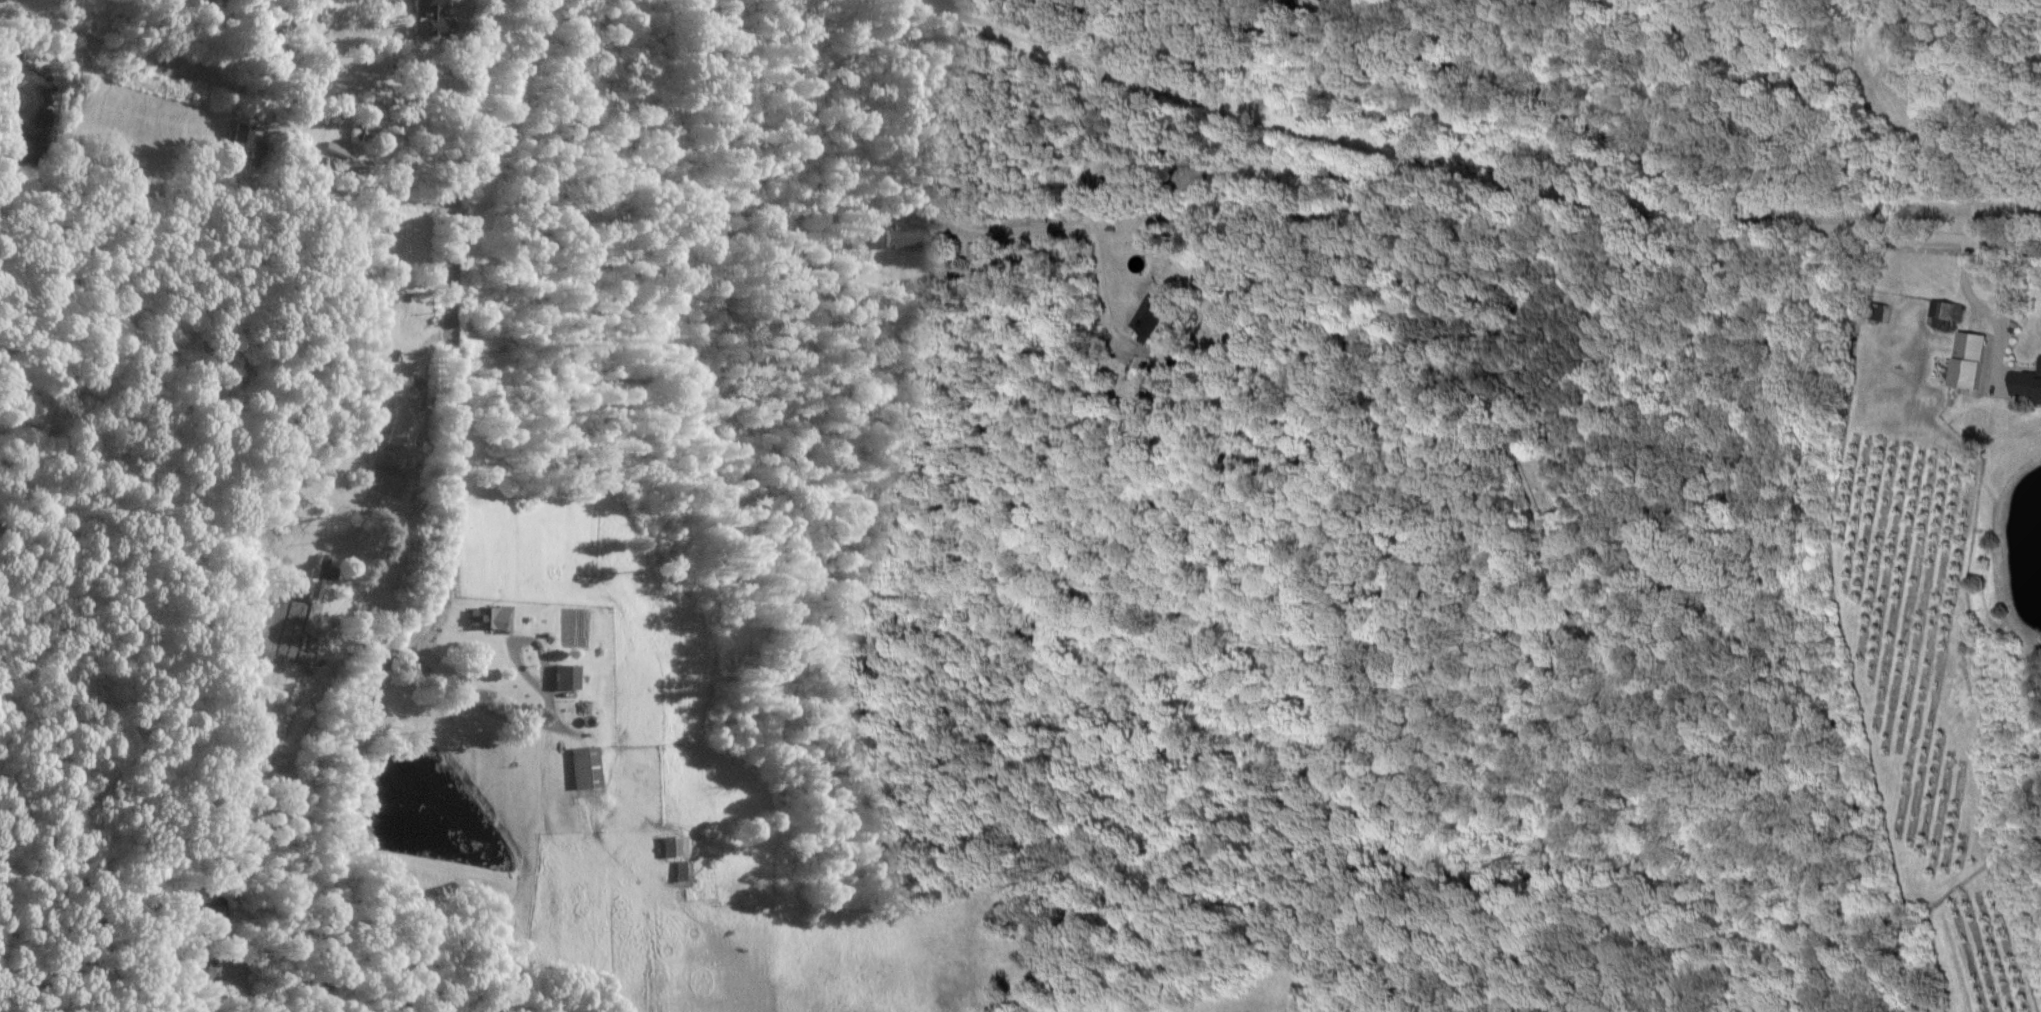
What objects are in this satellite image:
road: (1089, 3)
building: (429, 20)
road: (1559, 107)
building: (241, 141)
road: (1088, 188)
road: (361, 198)
road: (1017, 231)
building: (903, 237)
road: (1985, 312)
building: (1943, 314)
building: (1149, 317)
building: (1966, 361)
building: (2026, 384)
building: (399, 429)
road: (451, 517)
building: (317, 574)
building: (486, 616)
road: (344, 635)
building: (562, 675)
road: (545, 723)
building: (583, 766)
building: (668, 845)
building: (209, 916)
building: (203, 969)

